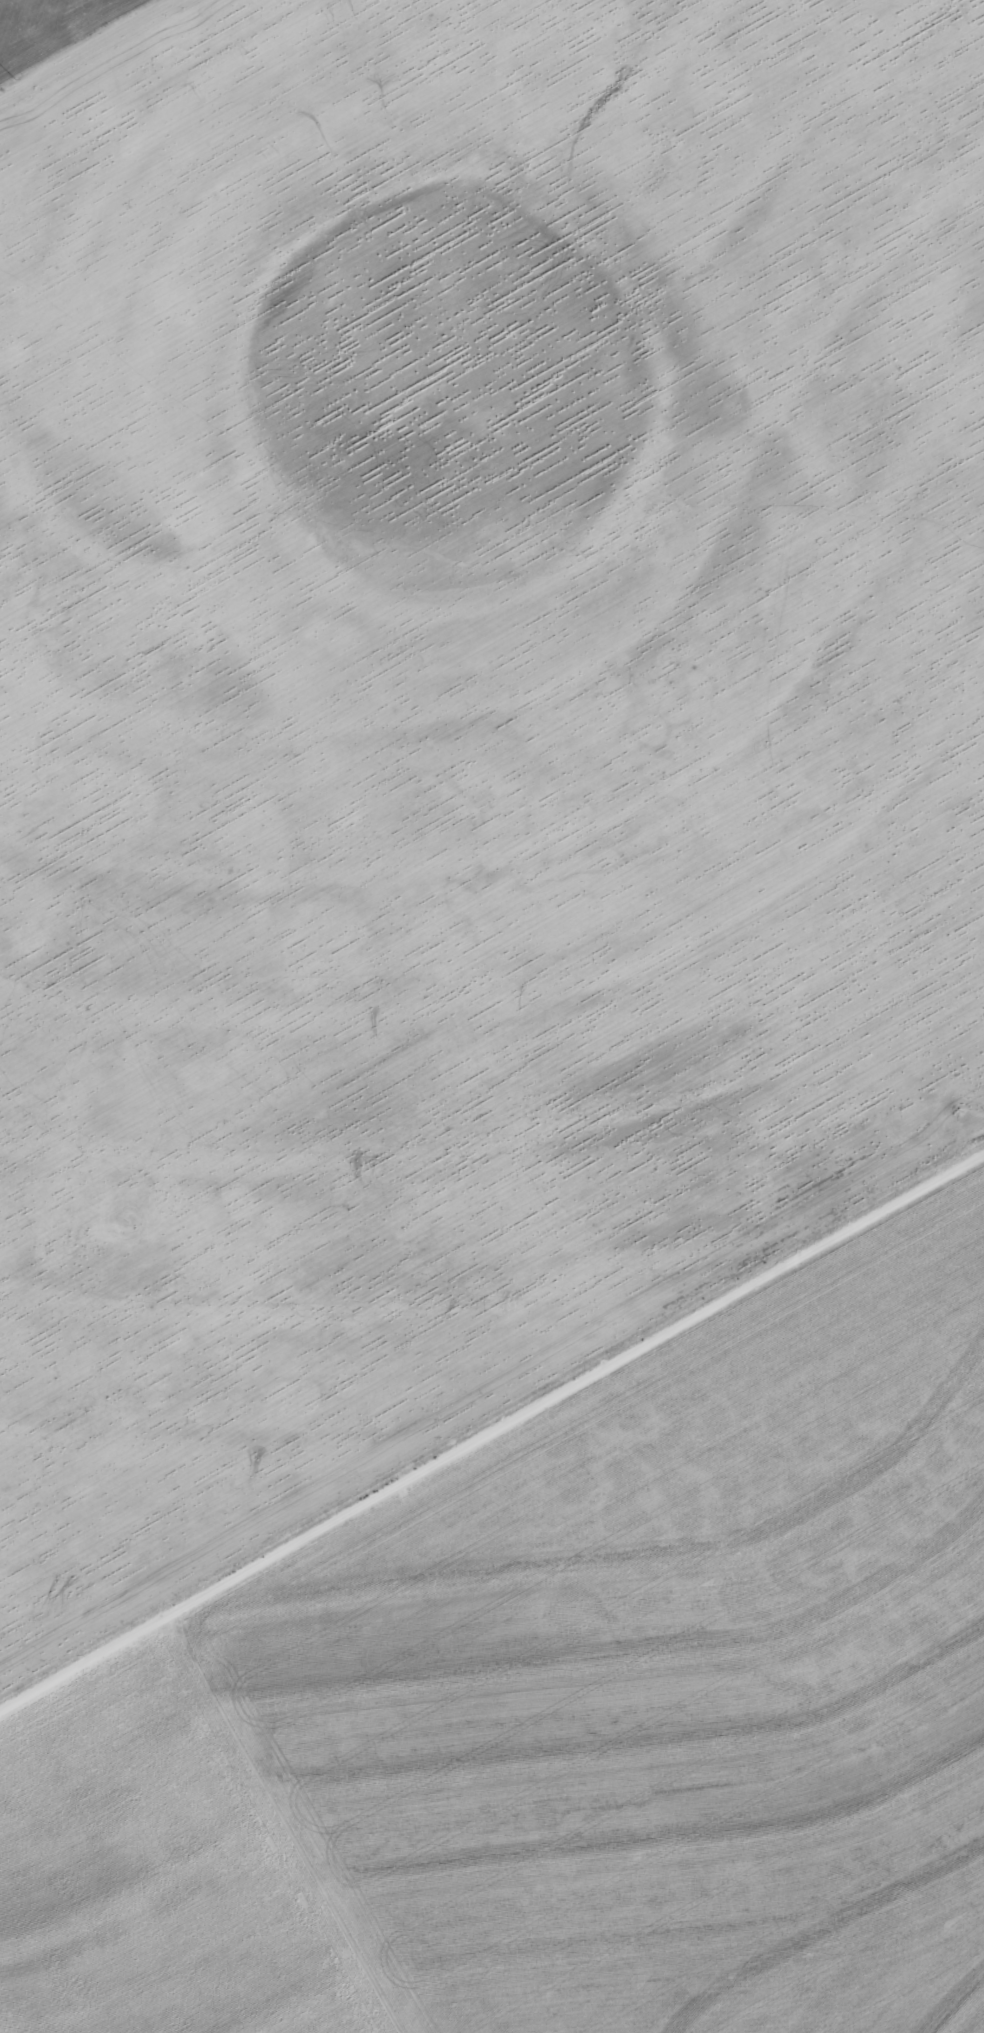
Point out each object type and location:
road: (492, 1434)

